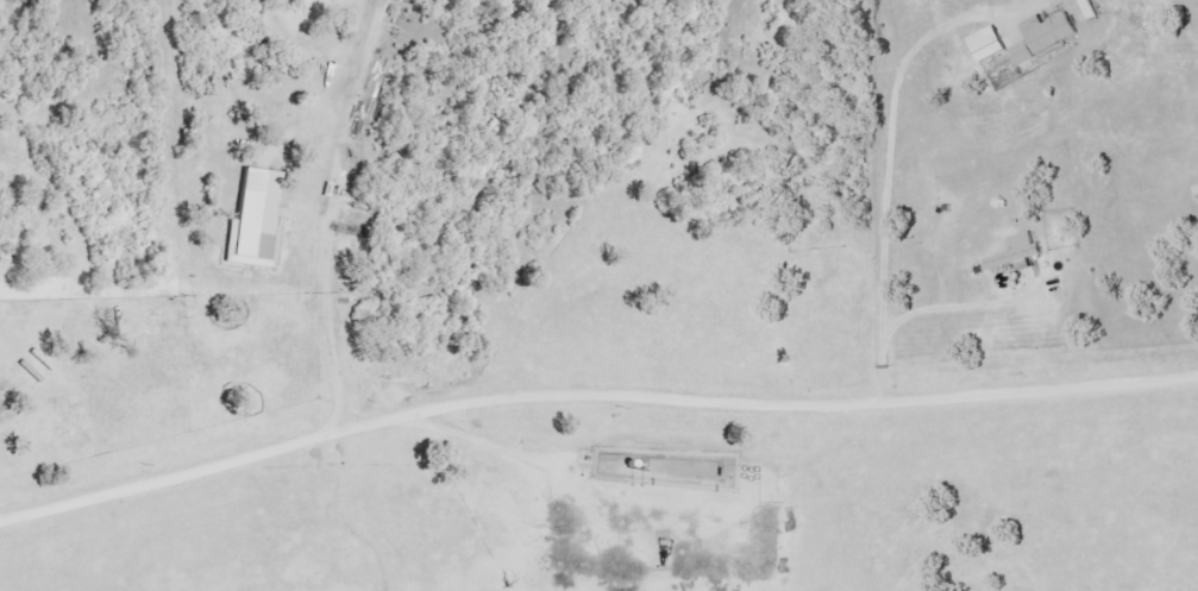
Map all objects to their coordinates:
building: (1049, 36)
building: (992, 44)
road: (890, 194)
road: (330, 203)
building: (259, 221)
building: (1020, 253)
road: (954, 293)
road: (591, 396)

